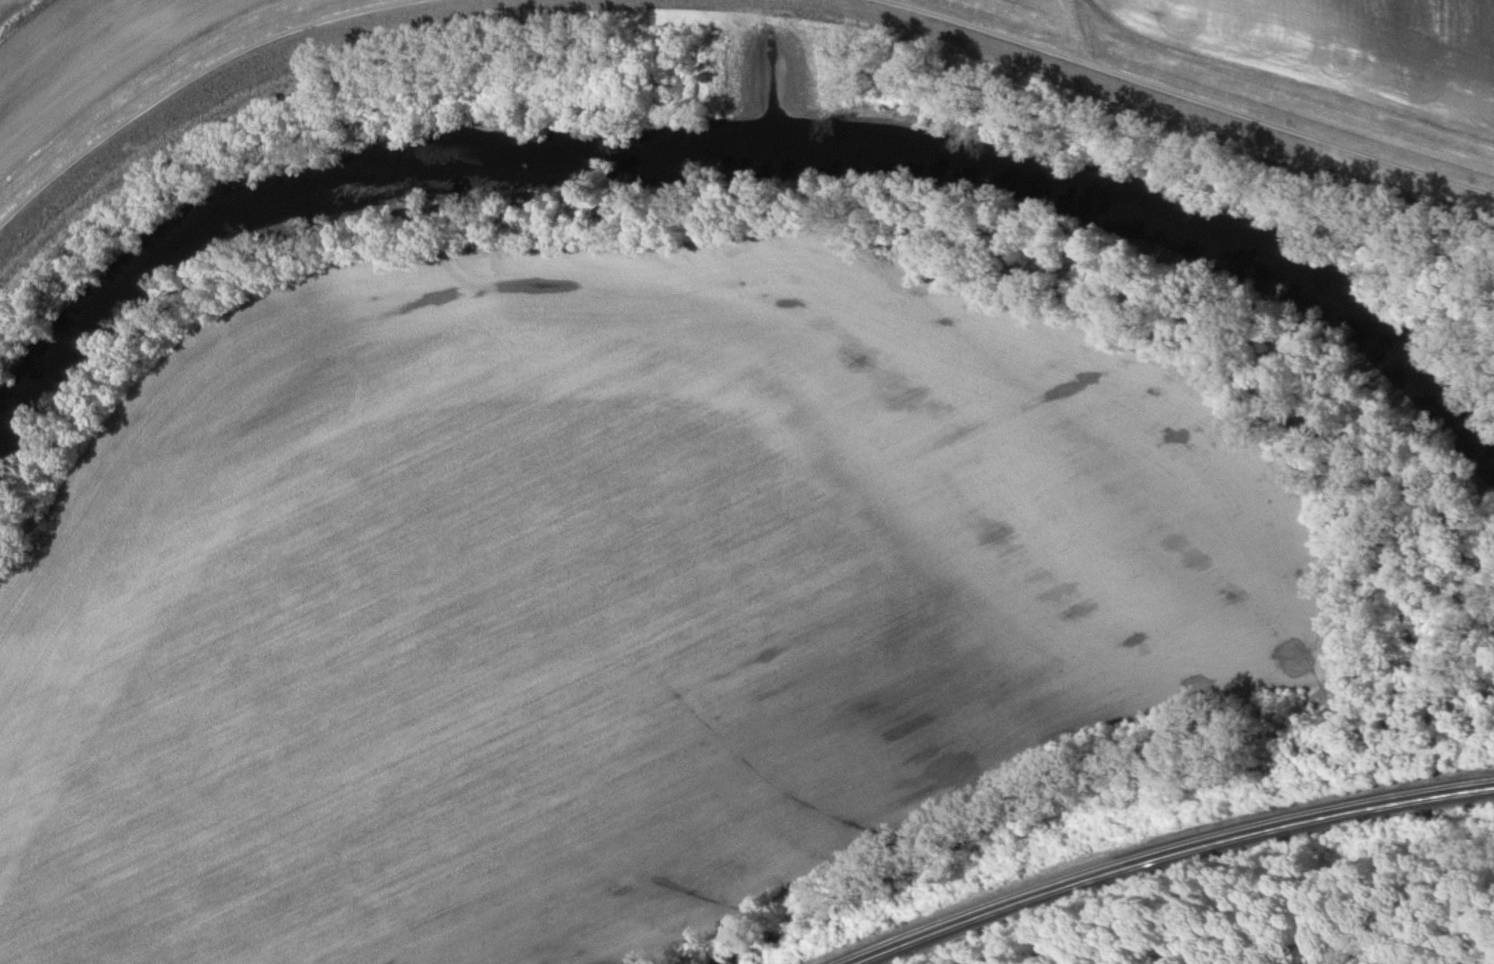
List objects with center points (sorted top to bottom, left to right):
crop: (1068, 3)
crop: (12, 9)
crop: (1344, 45)
crop: (85, 60)
road: (238, 67)
road: (1156, 91)
river: (746, 148)
road: (151, 410)
road: (45, 531)
crop: (619, 605)
railway: (1159, 843)
railway: (1171, 849)

